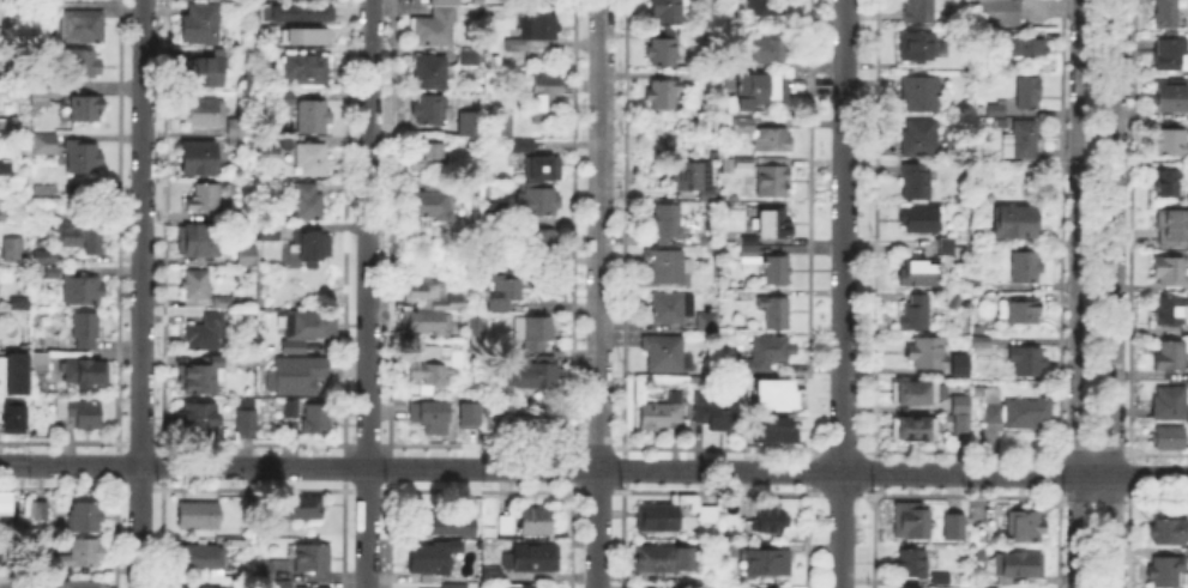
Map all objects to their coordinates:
building: (217, 0)
building: (478, 4)
building: (773, 6)
building: (665, 11)
building: (922, 11)
building: (995, 11)
building: (304, 12)
building: (42, 13)
building: (734, 13)
building: (1168, 13)
building: (438, 24)
building: (204, 25)
building: (83, 28)
building: (533, 32)
building: (303, 34)
building: (1031, 47)
building: (918, 48)
building: (770, 51)
building: (663, 54)
building: (1172, 56)
building: (470, 59)
building: (84, 63)
building: (308, 71)
building: (207, 72)
building: (433, 73)
building: (762, 89)
building: (38, 91)
building: (659, 92)
building: (1030, 93)
building: (922, 95)
building: (543, 97)
building: (288, 99)
building: (1175, 99)
building: (88, 109)
building: (432, 111)
building: (997, 111)
building: (206, 114)
building: (314, 117)
building: (468, 122)
building: (503, 127)
building: (744, 128)
building: (239, 133)
building: (921, 139)
building: (1023, 141)
building: (773, 143)
building: (1171, 144)
building: (46, 145)
building: (270, 147)
building: (524, 147)
building: (427, 157)
building: (83, 158)
building: (199, 160)
building: (313, 160)
building: (744, 165)
building: (6, 166)
building: (544, 170)
building: (694, 181)
building: (773, 182)
building: (1168, 184)
building: (916, 186)
building: (204, 199)
building: (537, 201)
building: (310, 204)
building: (433, 206)
building: (495, 214)
building: (6, 217)
building: (921, 220)
building: (1015, 223)
park: (1094, 223)
building: (772, 225)
building: (667, 226)
building: (1174, 228)
building: (269, 232)
building: (79, 238)
building: (199, 242)
building: (539, 244)
building: (313, 245)
building: (947, 248)
building: (13, 250)
building: (750, 250)
building: (247, 256)
building: (49, 259)
building: (507, 260)
building: (665, 267)
building: (1025, 267)
building: (1170, 269)
building: (778, 271)
building: (53, 274)
building: (921, 274)
building: (195, 285)
building: (755, 285)
building: (82, 290)
building: (505, 292)
road: (140, 293)
road: (368, 293)
road: (598, 293)
road: (843, 293)
road: (1073, 293)
road: (1116, 293)
building: (436, 297)
building: (671, 307)
building: (774, 311)
building: (1171, 311)
building: (1023, 314)
building: (917, 317)
building: (430, 323)
building: (707, 323)
building: (310, 325)
building: (86, 332)
building: (538, 333)
building: (206, 334)
building: (979, 347)
building: (664, 353)
building: (929, 353)
building: (766, 356)
building: (1170, 356)
building: (1027, 362)
building: (38, 364)
building: (434, 366)
building: (960, 370)
building: (88, 374)
building: (537, 374)
building: (13, 375)
building: (297, 376)
building: (203, 377)
building: (771, 392)
building: (913, 395)
building: (1170, 404)
building: (468, 408)
building: (293, 410)
building: (1018, 412)
building: (82, 413)
building: (663, 414)
building: (961, 414)
building: (490, 416)
building: (714, 416)
building: (432, 417)
building: (199, 419)
building: (14, 420)
building: (316, 420)
building: (247, 426)
building: (768, 428)
building: (542, 430)
building: (913, 430)
building: (1170, 440)
road: (593, 466)
building: (8, 508)
building: (475, 508)
building: (303, 509)
building: (43, 511)
building: (708, 514)
building: (199, 516)
building: (770, 516)
building: (85, 517)
building: (657, 517)
building: (536, 521)
building: (916, 522)
building: (441, 525)
building: (507, 526)
building: (953, 528)
building: (1025, 528)
building: (1169, 534)
building: (239, 542)
park: (1092, 545)
building: (82, 557)
building: (313, 558)
building: (433, 558)
building: (204, 559)
building: (532, 559)
building: (658, 560)
building: (768, 563)
building: (1019, 564)
building: (911, 565)
building: (264, 568)
building: (1168, 570)
building: (488, 572)
building: (941, 580)
building: (524, 584)
building: (80, 586)
building: (199, 586)
building: (283, 586)
building: (454, 586)
building: (685, 587)
building: (765, 587)

